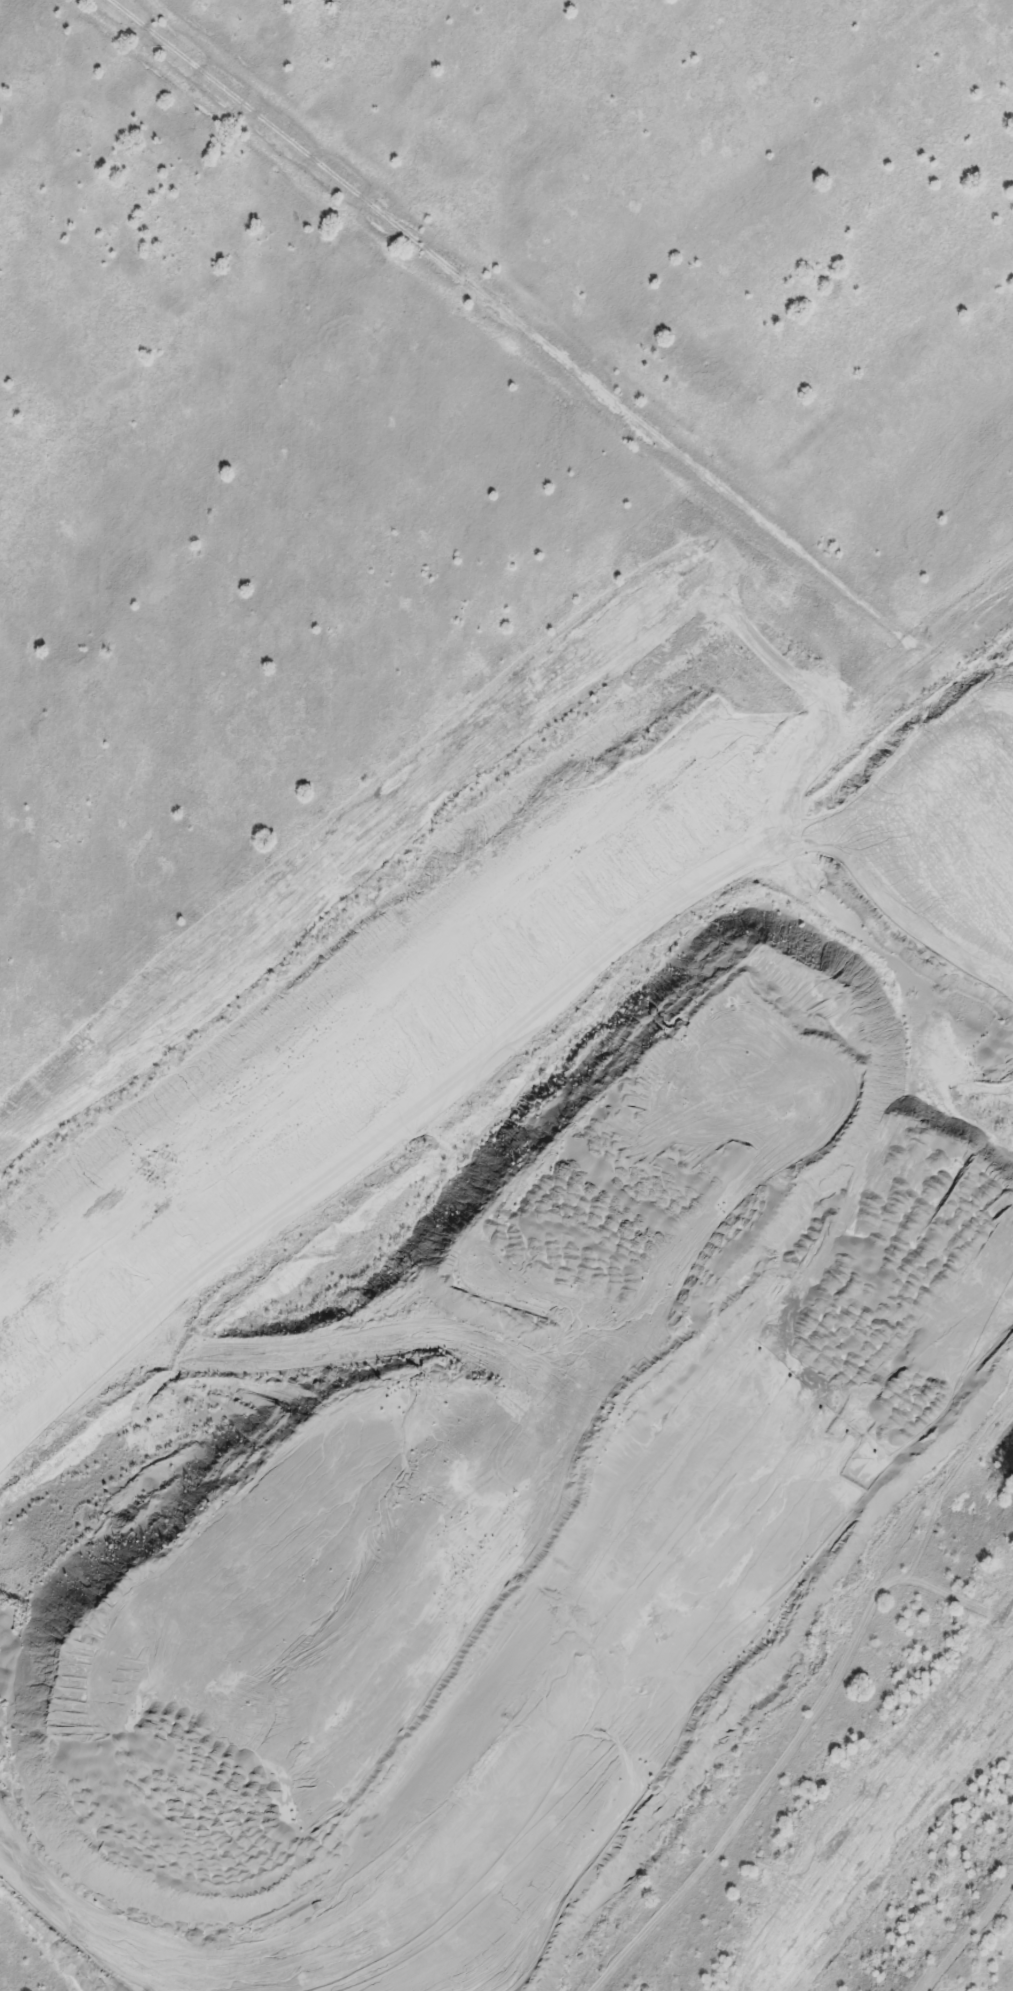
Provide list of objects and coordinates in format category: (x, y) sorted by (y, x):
quarry: (497, 975)

